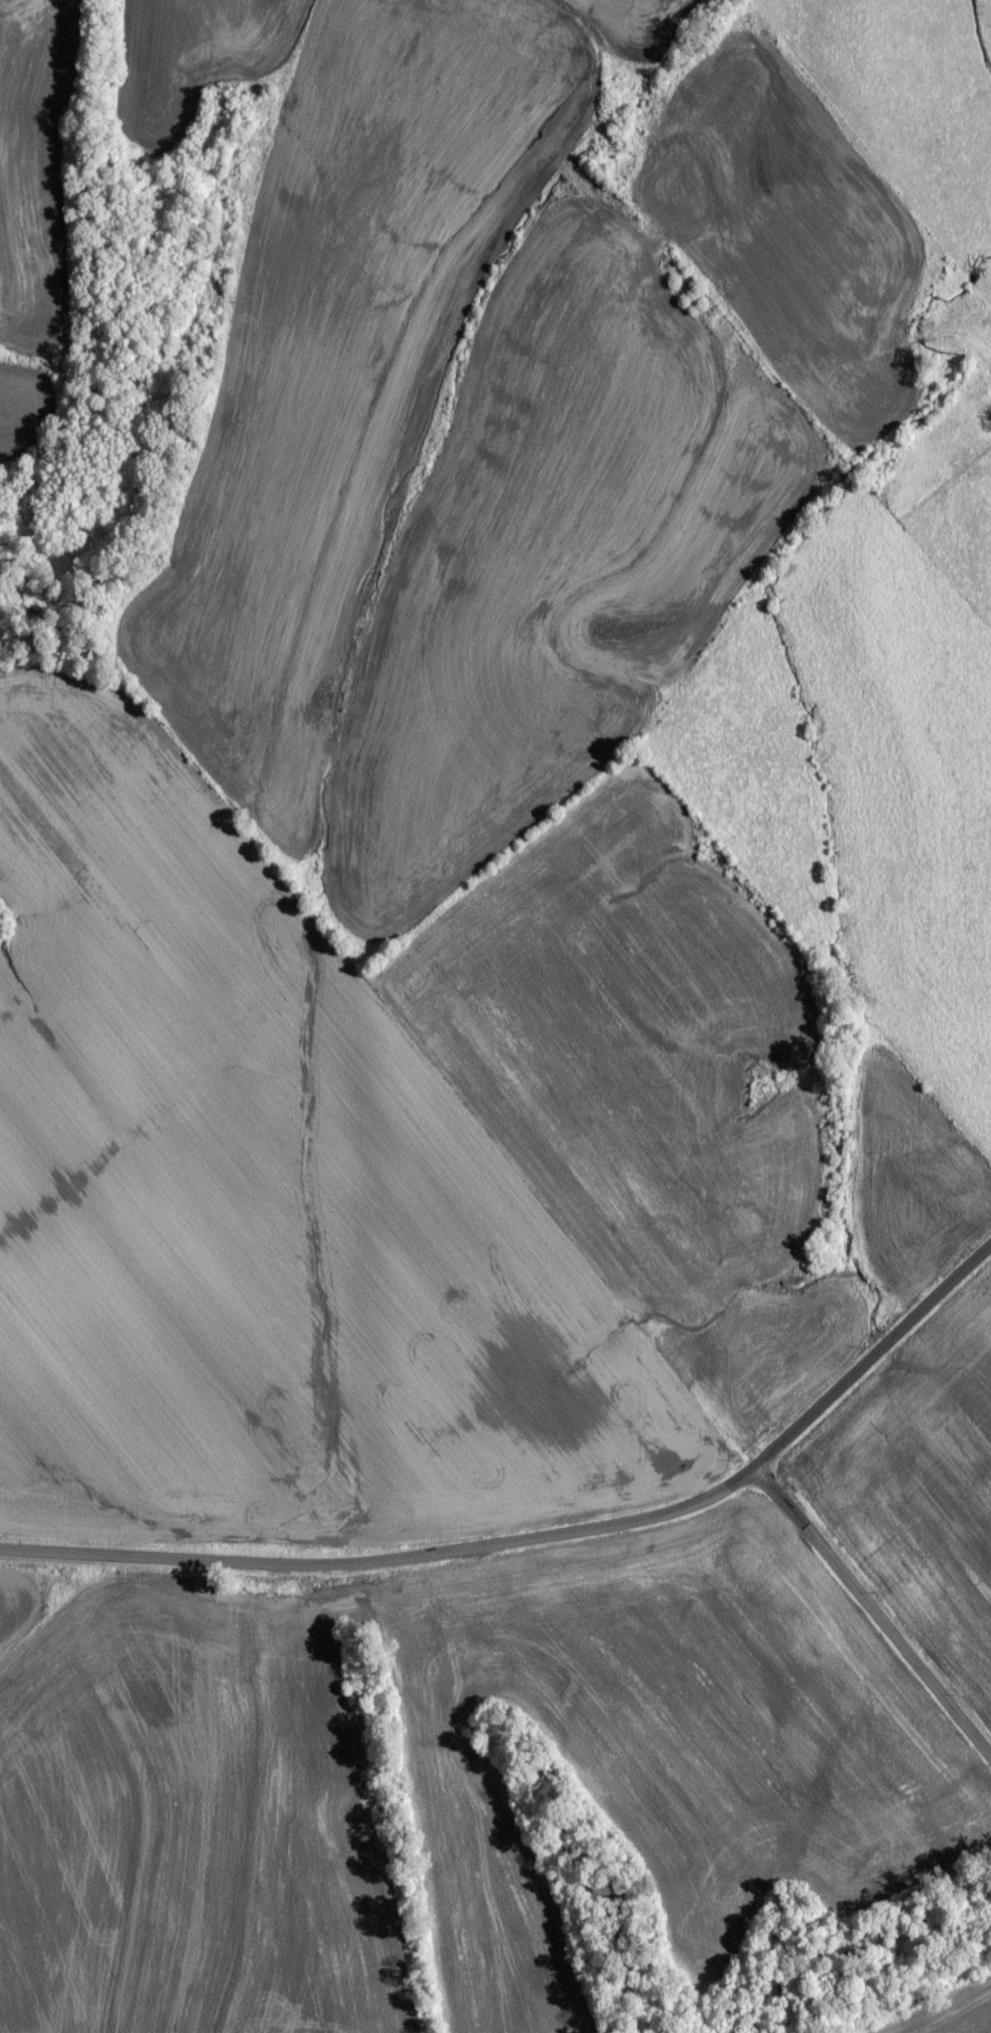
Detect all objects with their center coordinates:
road: (545, 1541)
road: (874, 1624)

